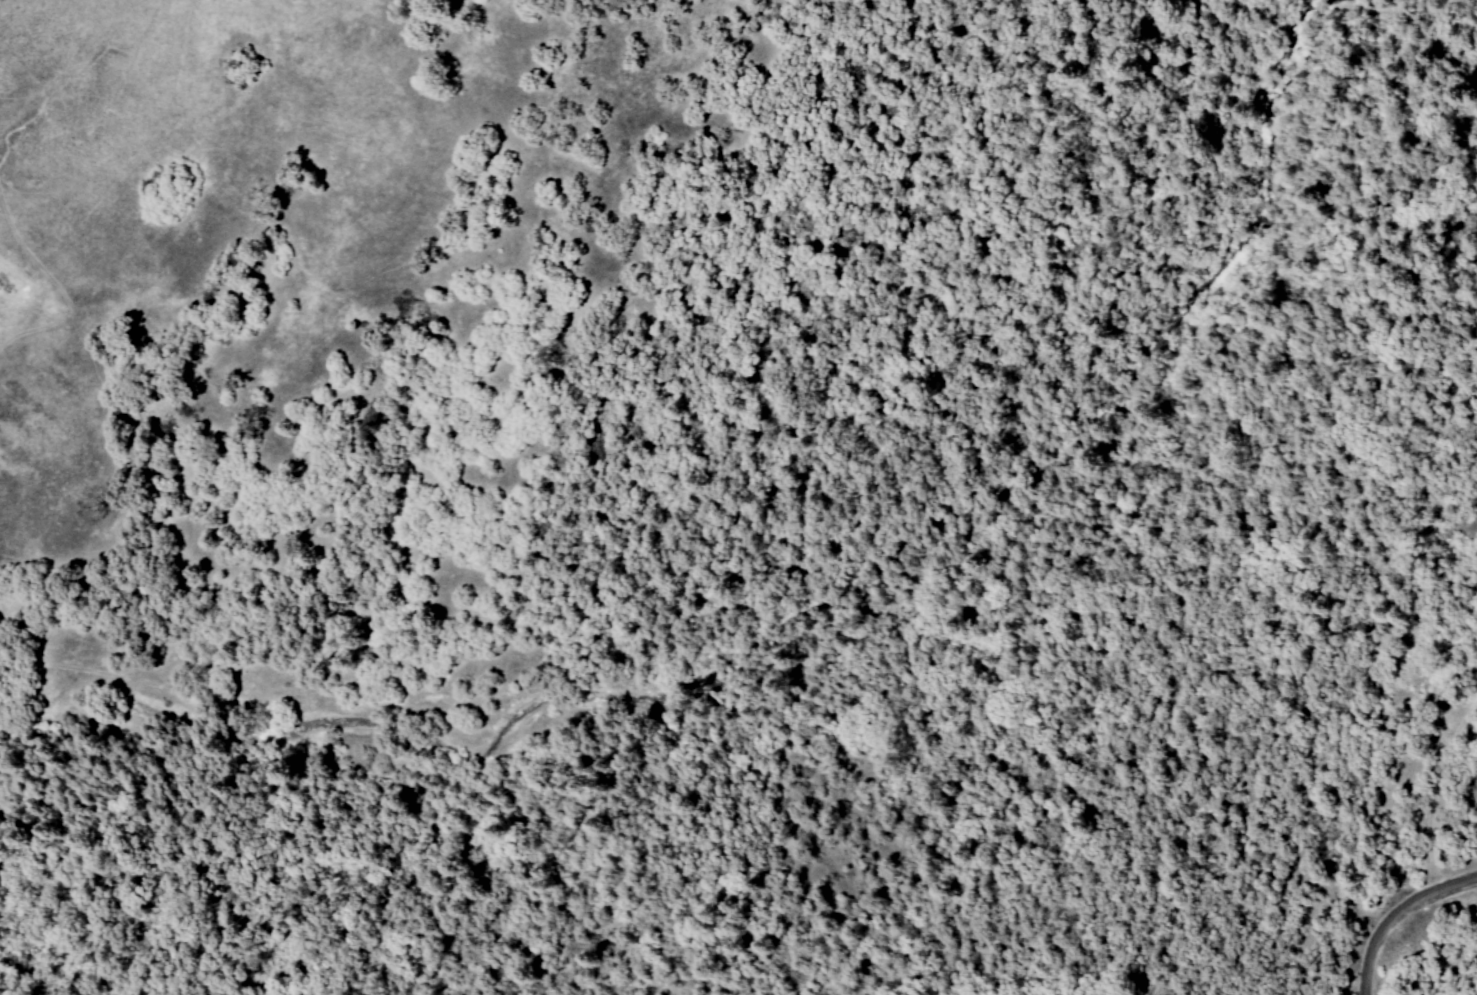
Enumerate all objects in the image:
road: (1398, 914)

